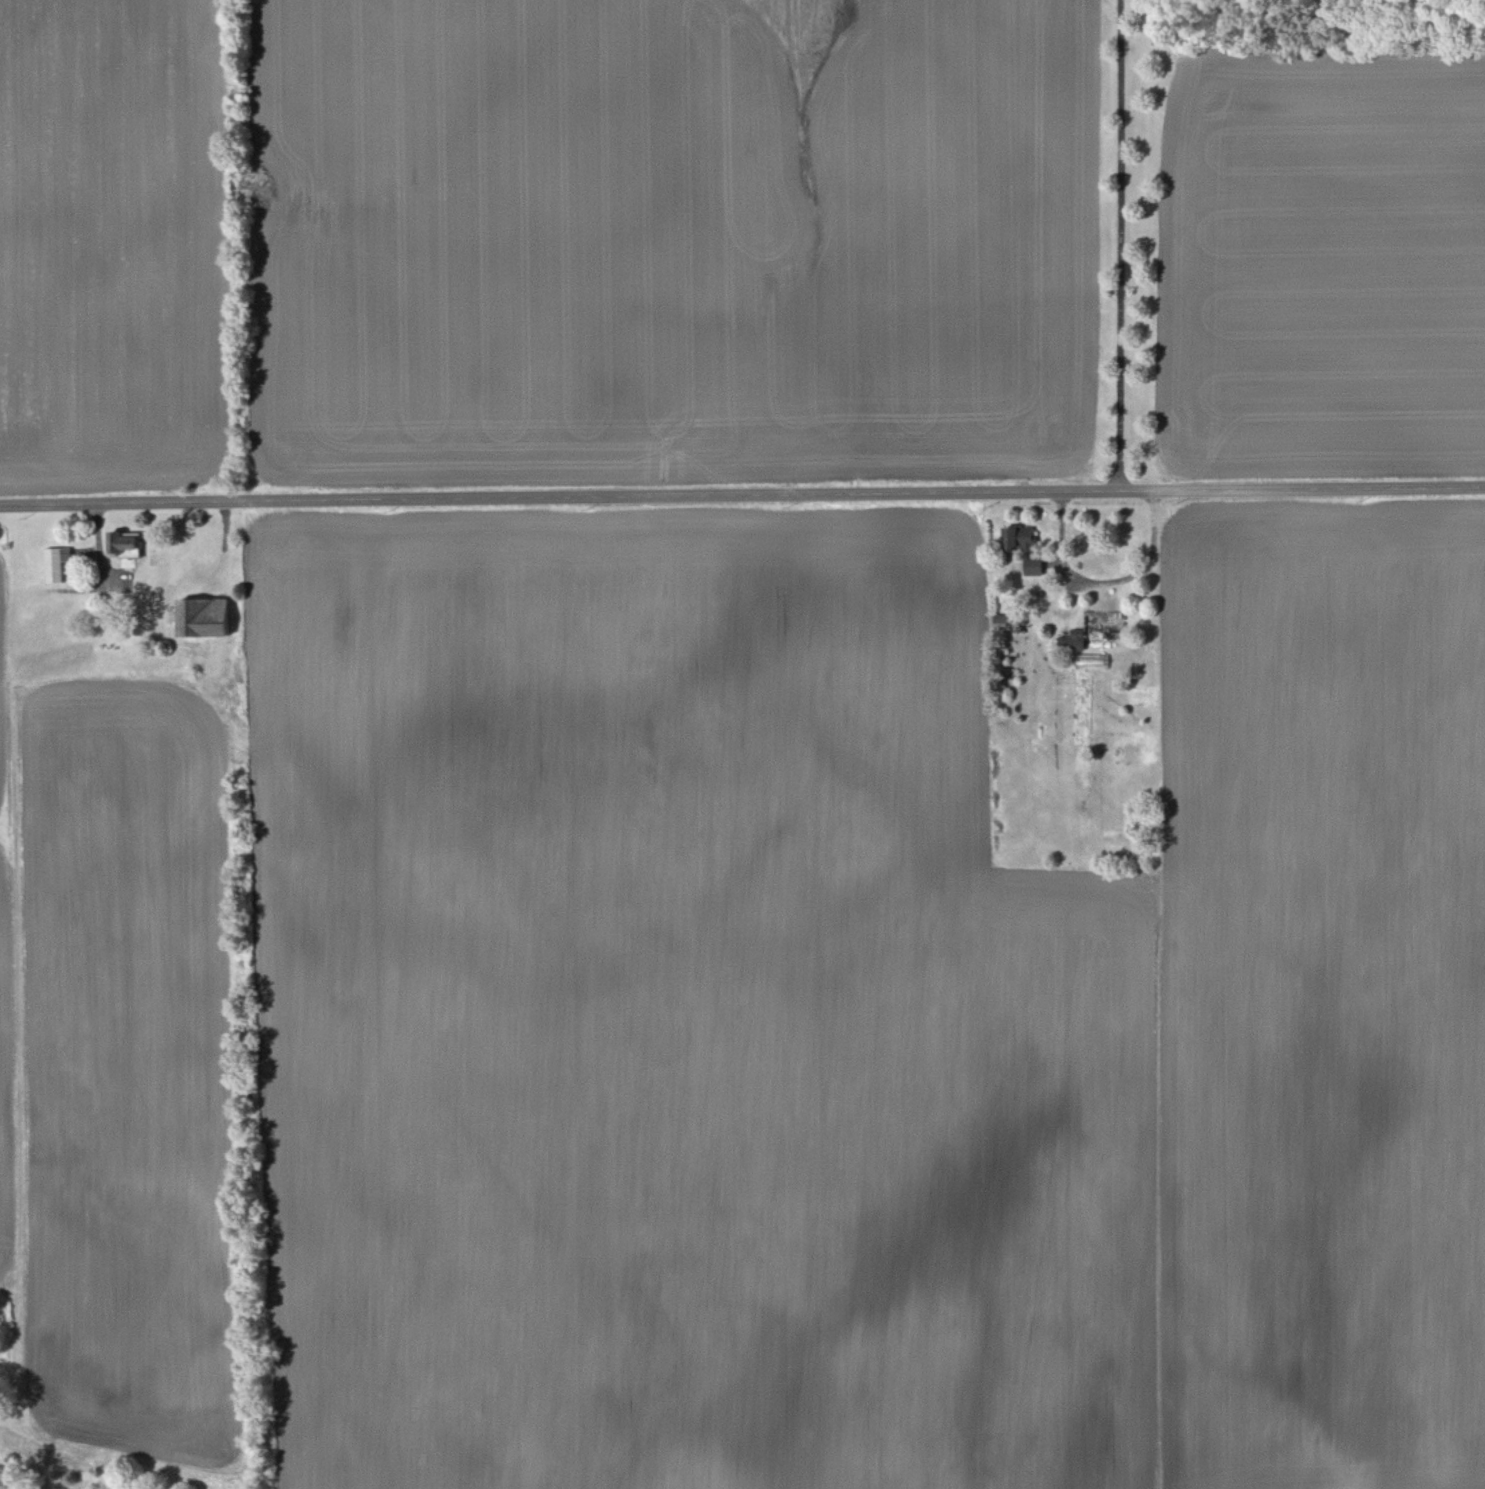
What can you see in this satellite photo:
road: (1120, 245)
road: (742, 495)
building: (1020, 541)
building: (126, 546)
building: (159, 563)
building: (56, 565)
building: (1034, 567)
building: (1004, 619)
building: (205, 620)
building: (1074, 643)
building: (1092, 663)

